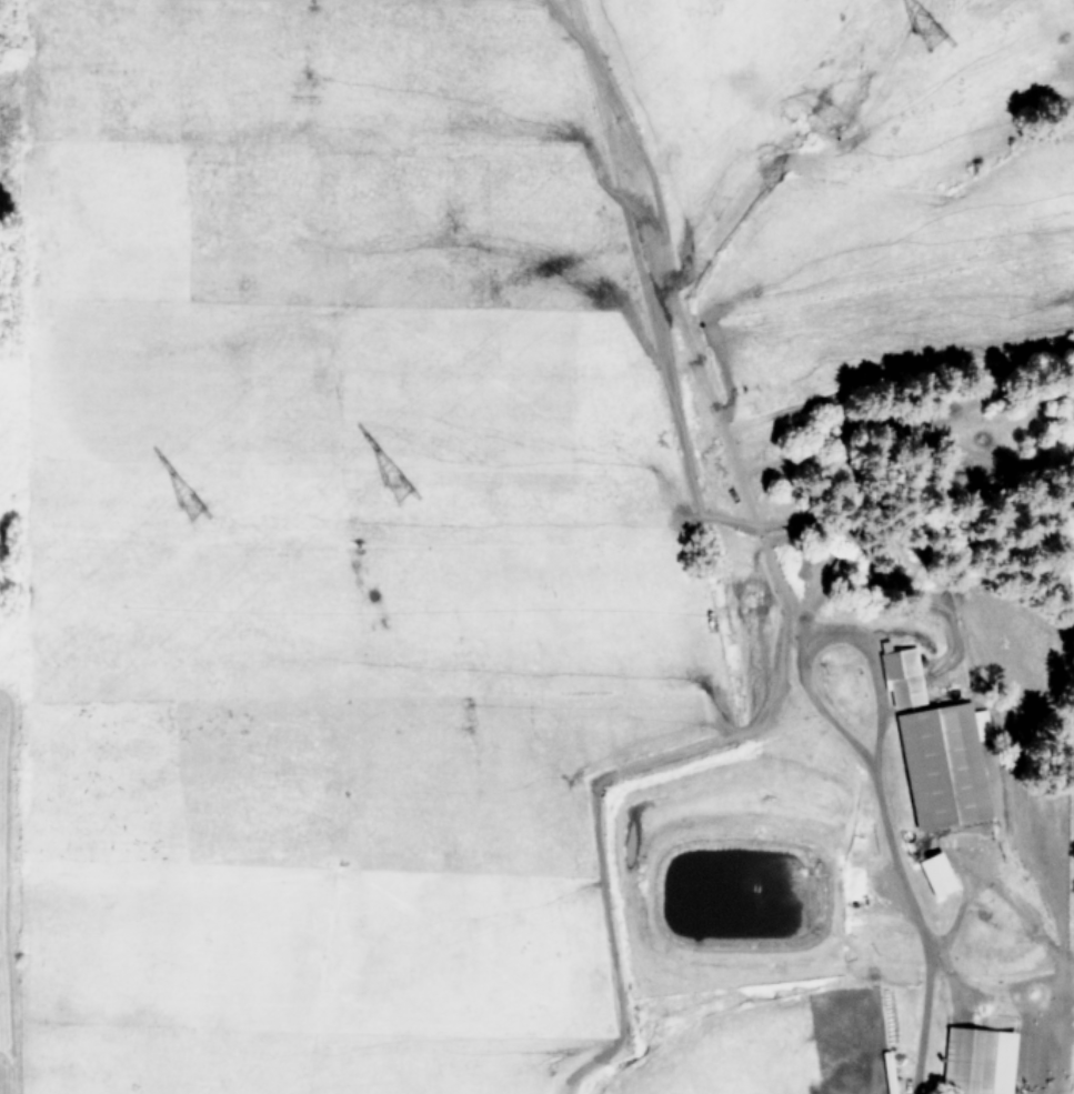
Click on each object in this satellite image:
power tower: (926, 36)
power tower: (393, 484)
power tower: (185, 504)
crop: (481, 532)
road: (823, 631)
building: (899, 676)
building: (941, 763)
building: (932, 873)
road: (917, 925)
building: (973, 1061)

